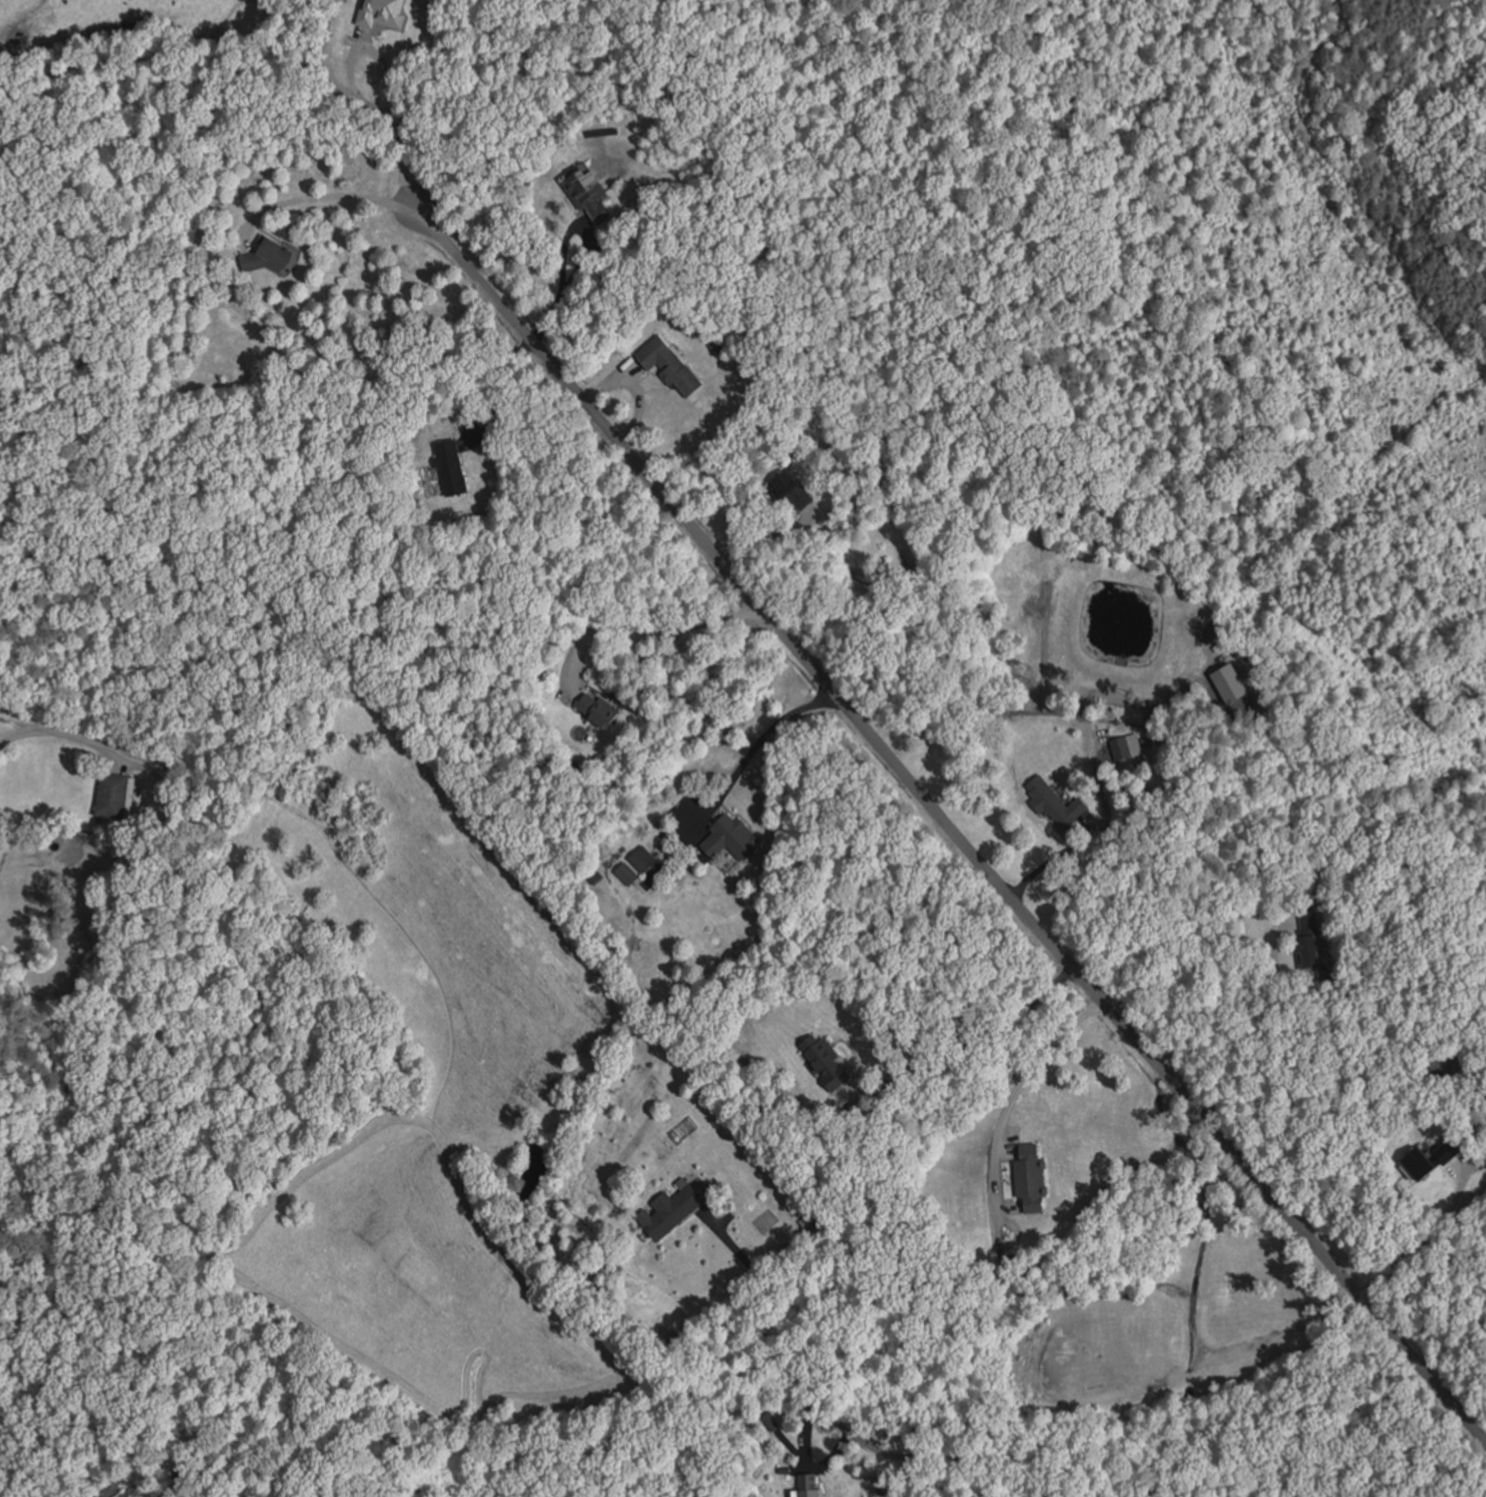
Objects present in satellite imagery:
building: (380, 13)
building: (583, 191)
building: (263, 258)
building: (666, 365)
building: (448, 467)
building: (788, 488)
building: (597, 710)
road: (91, 745)
building: (1126, 747)
building: (114, 796)
building: (1054, 804)
road: (942, 820)
building: (728, 838)
building: (642, 859)
building: (1320, 941)
building: (823, 1062)
building: (1443, 1152)
building: (1414, 1162)
building: (1027, 1176)
building: (671, 1210)
road: (1138, 1386)
building: (771, 1421)
building: (807, 1485)

